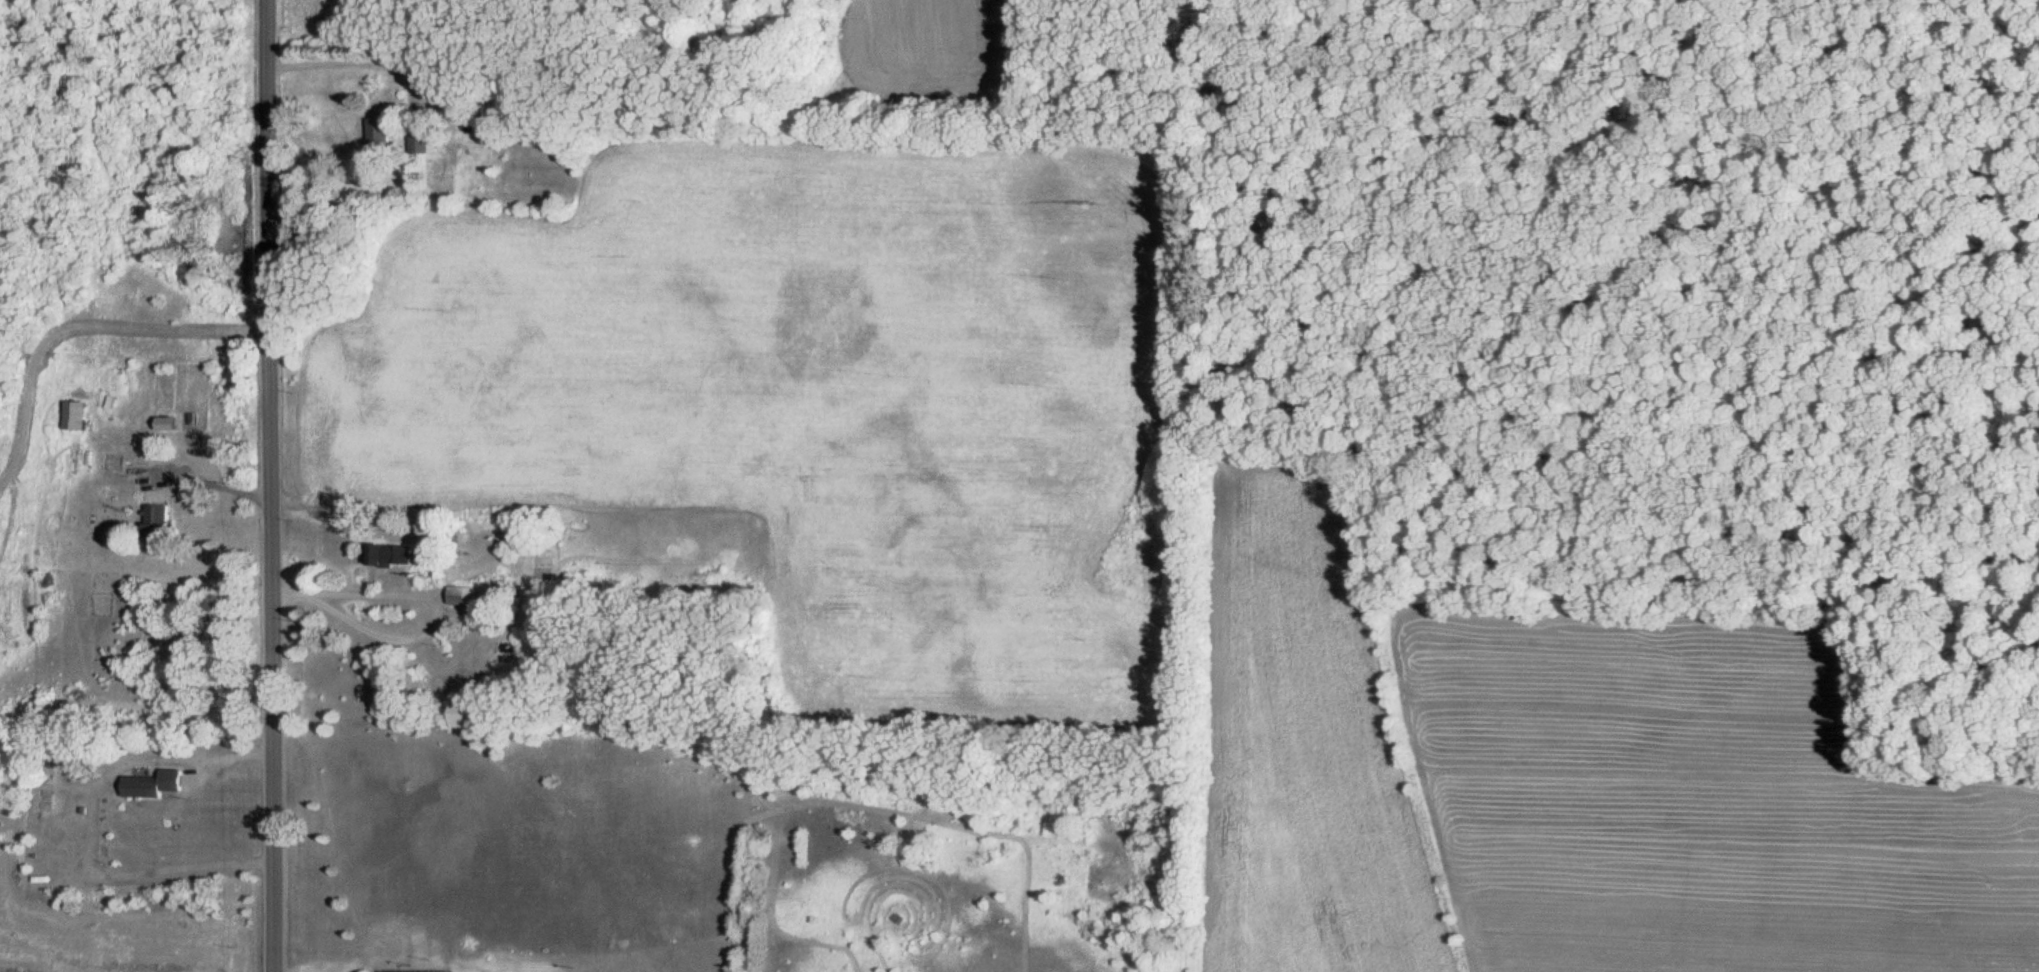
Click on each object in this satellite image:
road: (354, 65)
building: (382, 134)
building: (427, 148)
road: (72, 328)
building: (78, 419)
building: (171, 428)
road: (206, 479)
road: (260, 486)
building: (158, 525)
building: (392, 559)
building: (467, 599)
road: (428, 600)
building: (477, 718)
building: (155, 788)
building: (102, 849)

